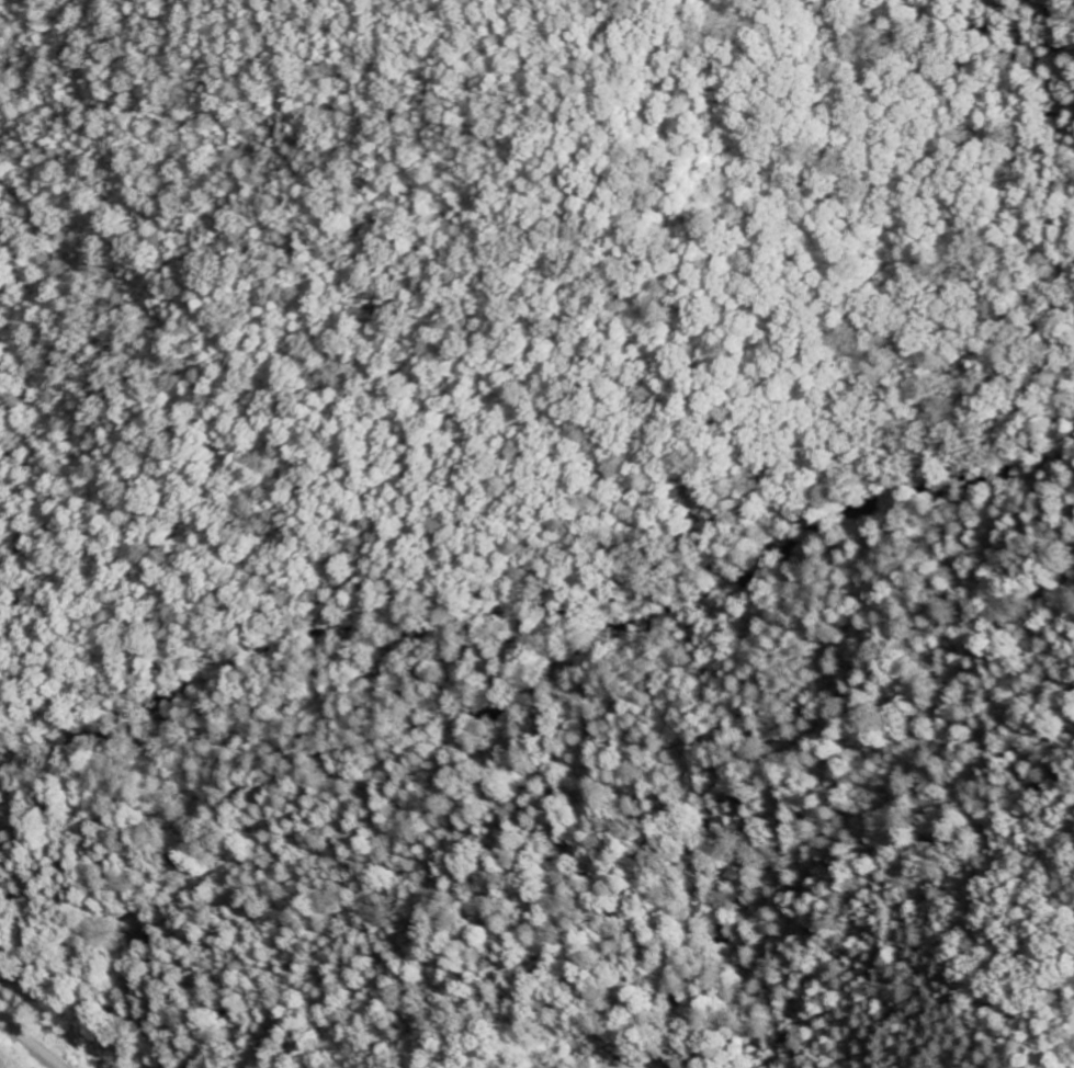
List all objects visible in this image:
road: (26, 1046)

